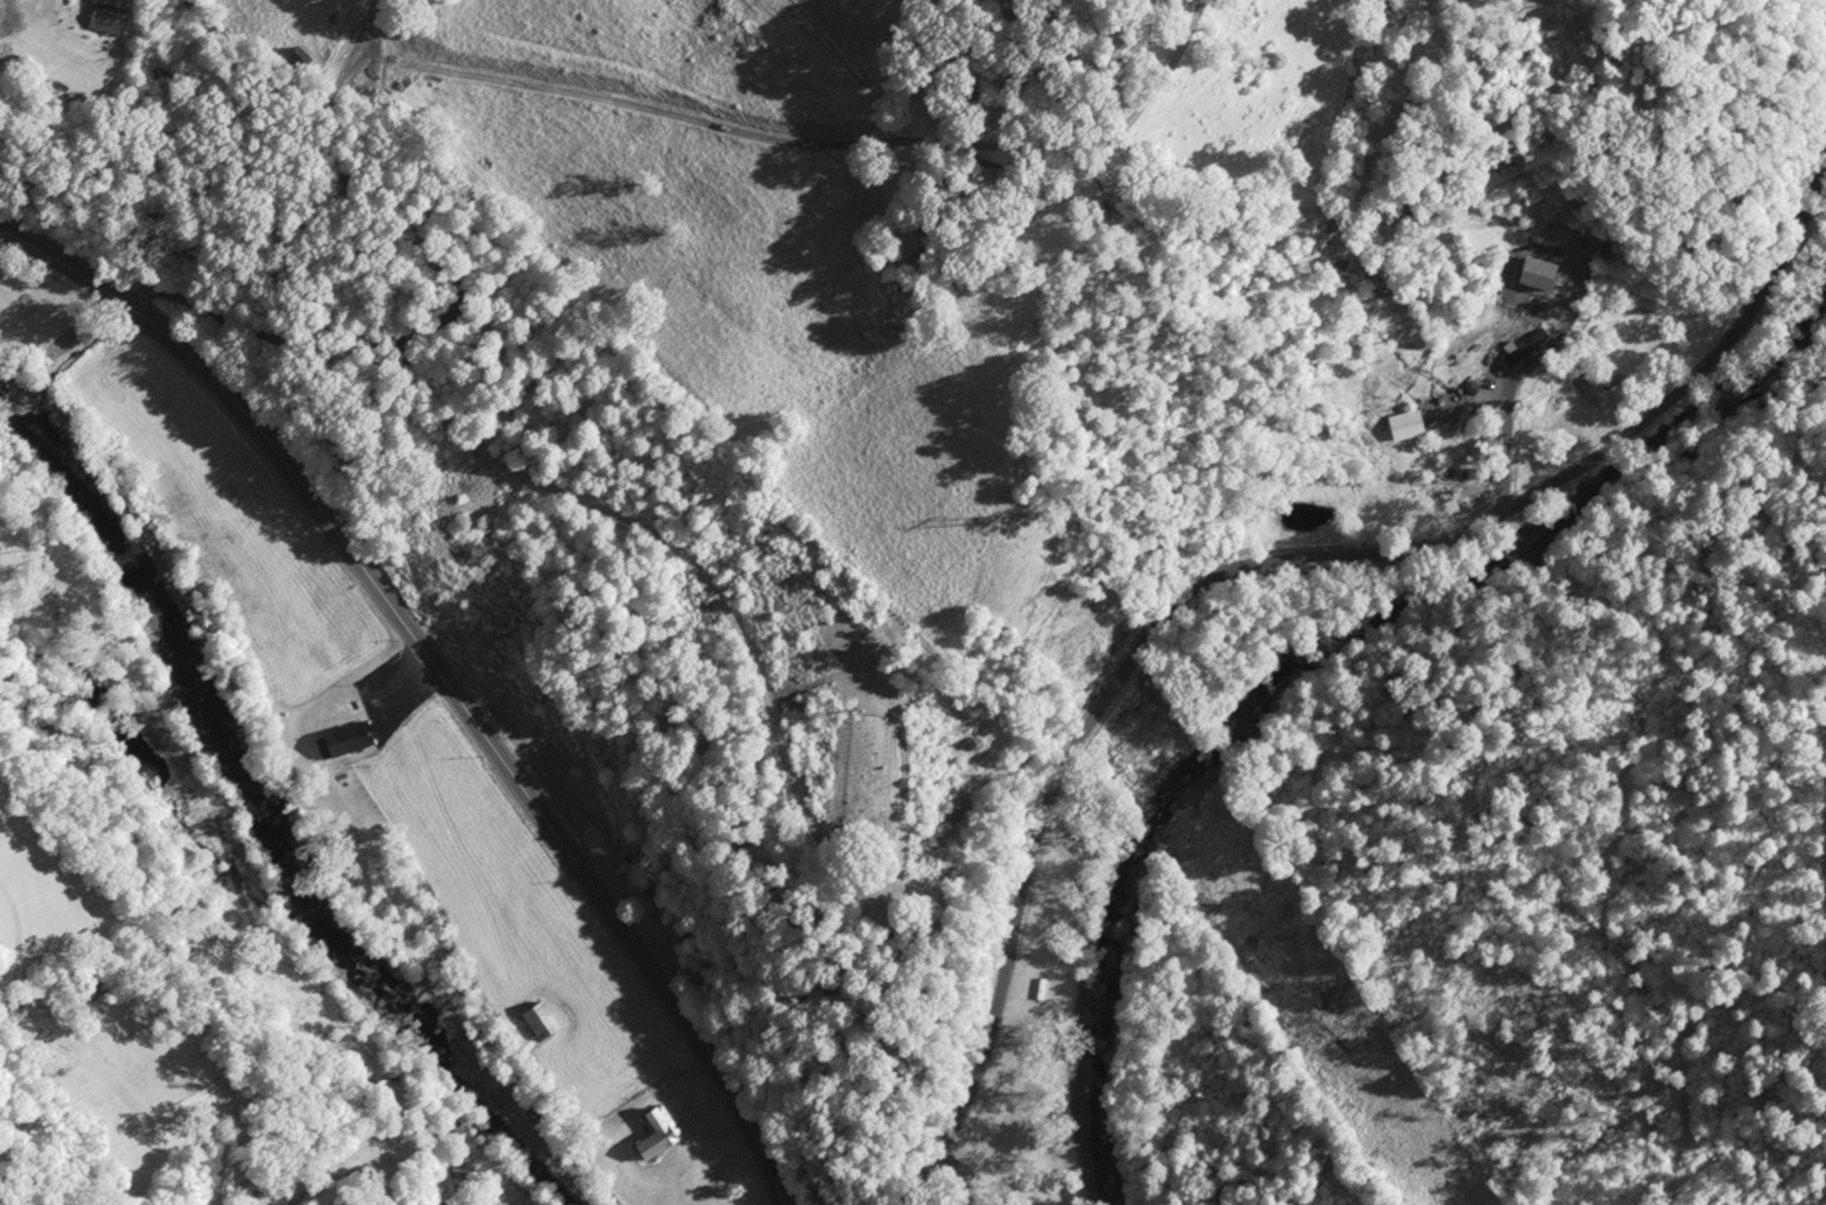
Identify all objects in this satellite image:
building: (105, 18)
building: (17, 70)
road: (810, 142)
road: (388, 296)
road: (328, 520)
road: (1255, 565)
parking lot: (391, 695)
building: (345, 740)
river: (260, 819)
building: (537, 1024)
road: (697, 1036)
building: (531, 1070)
building: (1052, 1124)
building: (654, 1135)
building: (722, 1167)

